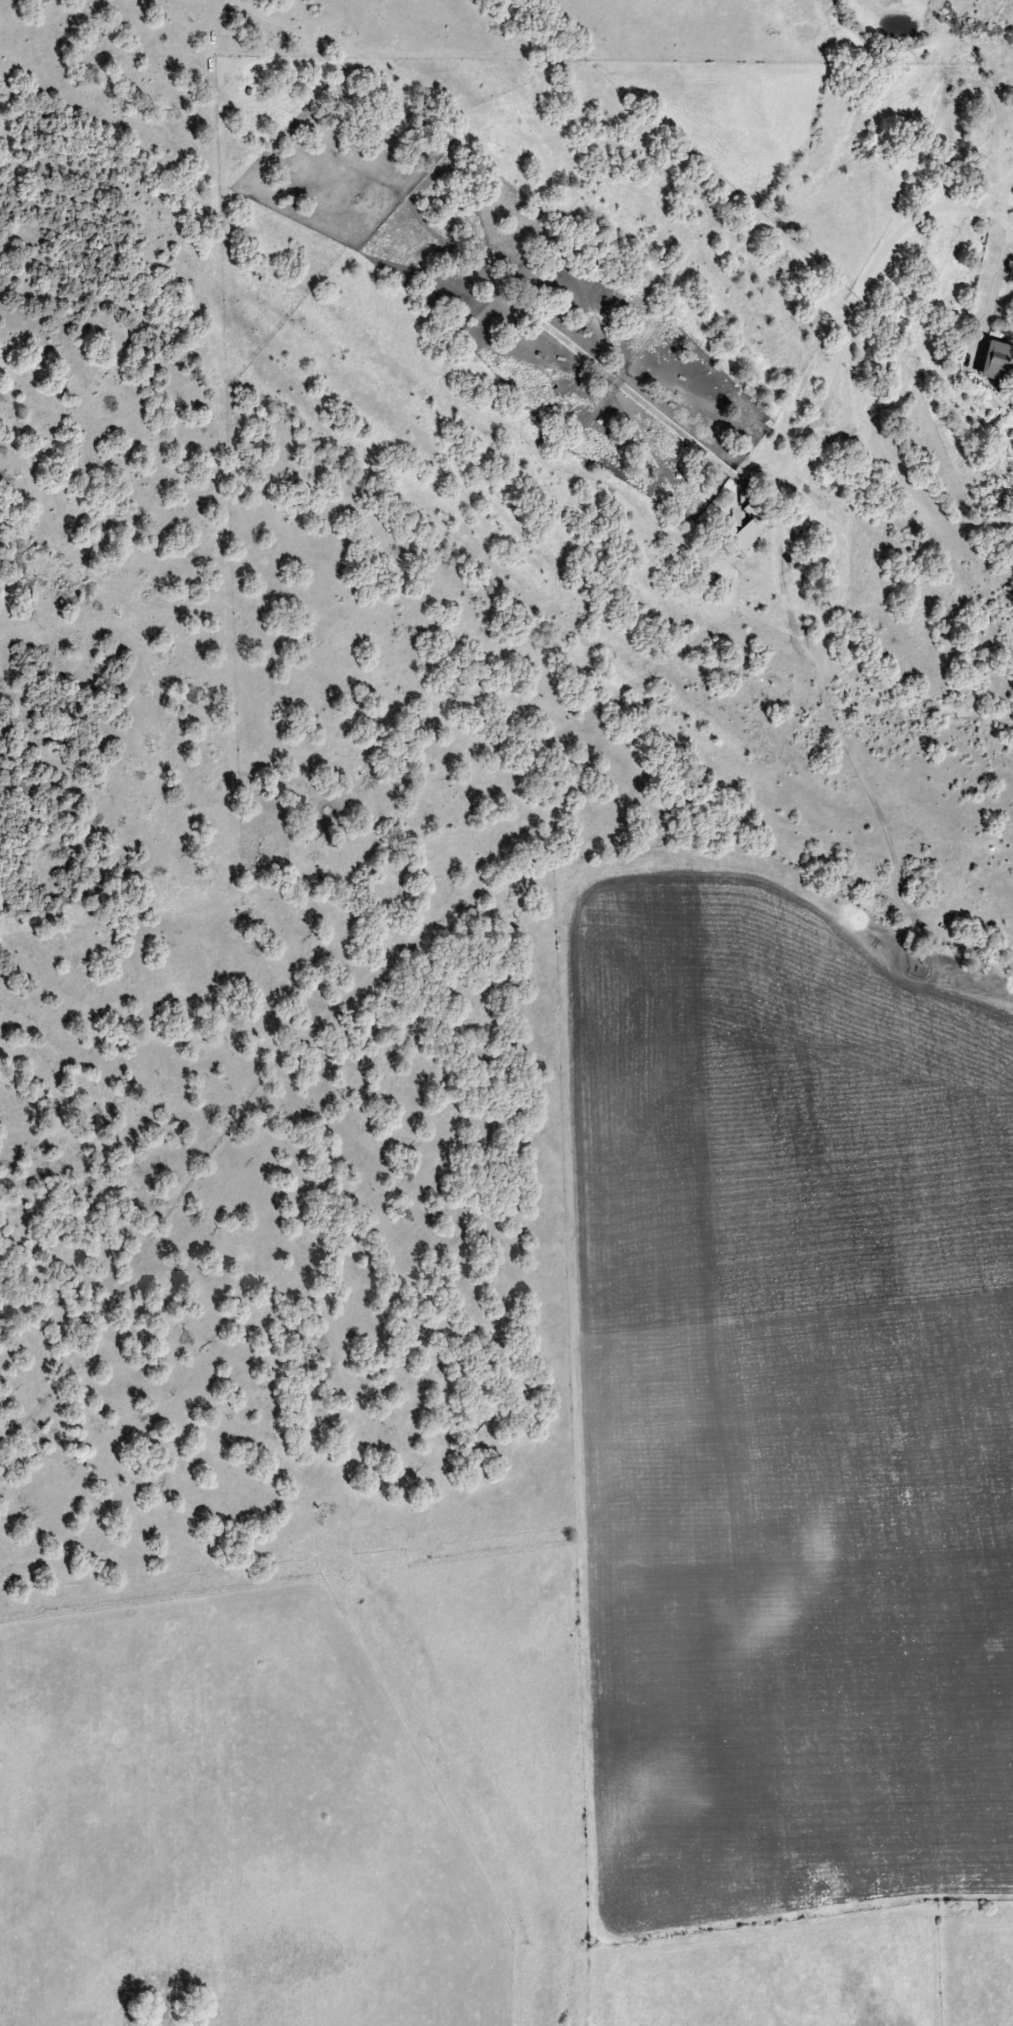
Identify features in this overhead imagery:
building: (996, 362)
building: (745, 537)

